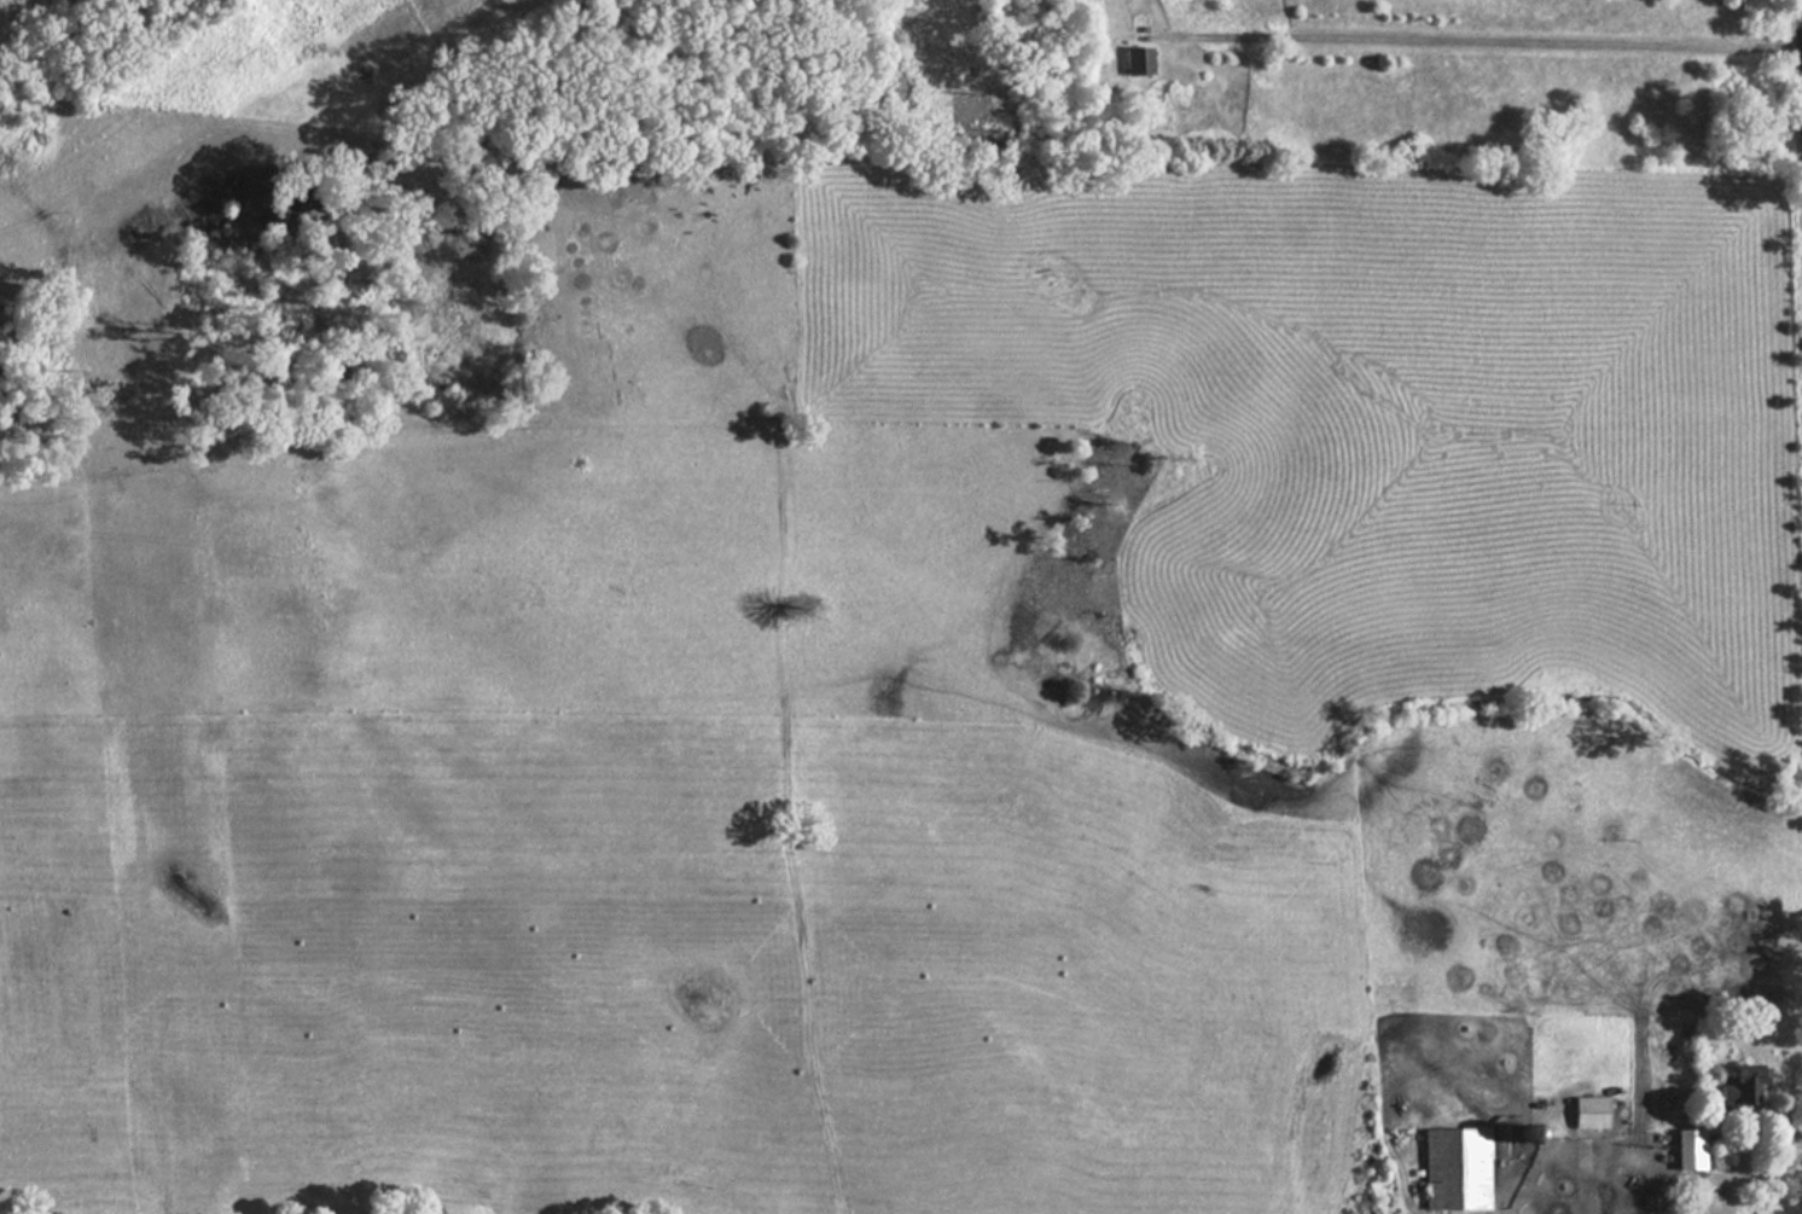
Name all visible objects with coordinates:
road: (1490, 42)
building: (1144, 60)
park: (540, 71)
building: (1734, 1088)
building: (1598, 1113)
building: (1685, 1150)
building: (1463, 1169)

